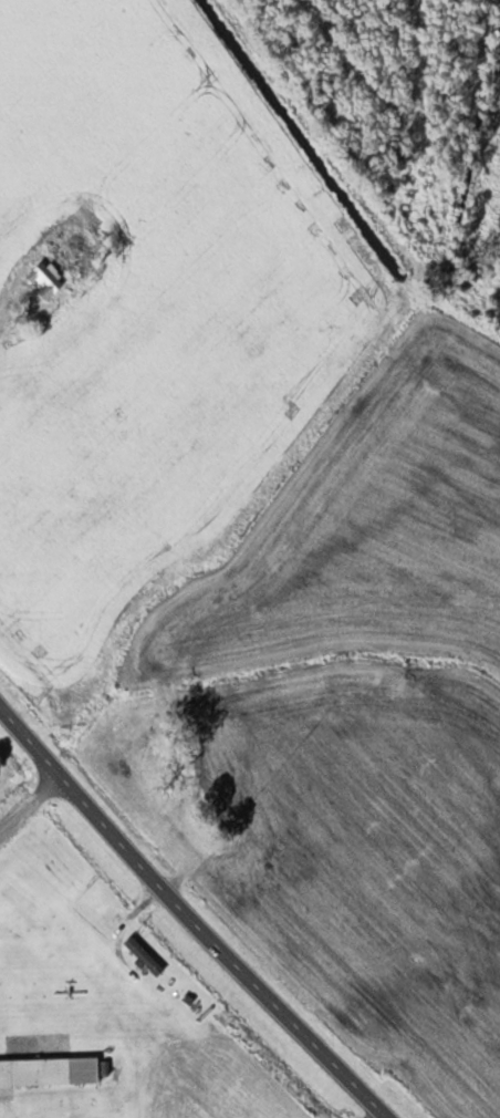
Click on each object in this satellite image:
building: (80, 217)
building: (46, 278)
road: (29, 800)
road: (190, 913)
building: (145, 954)
airport: (122, 997)
building: (49, 1068)

